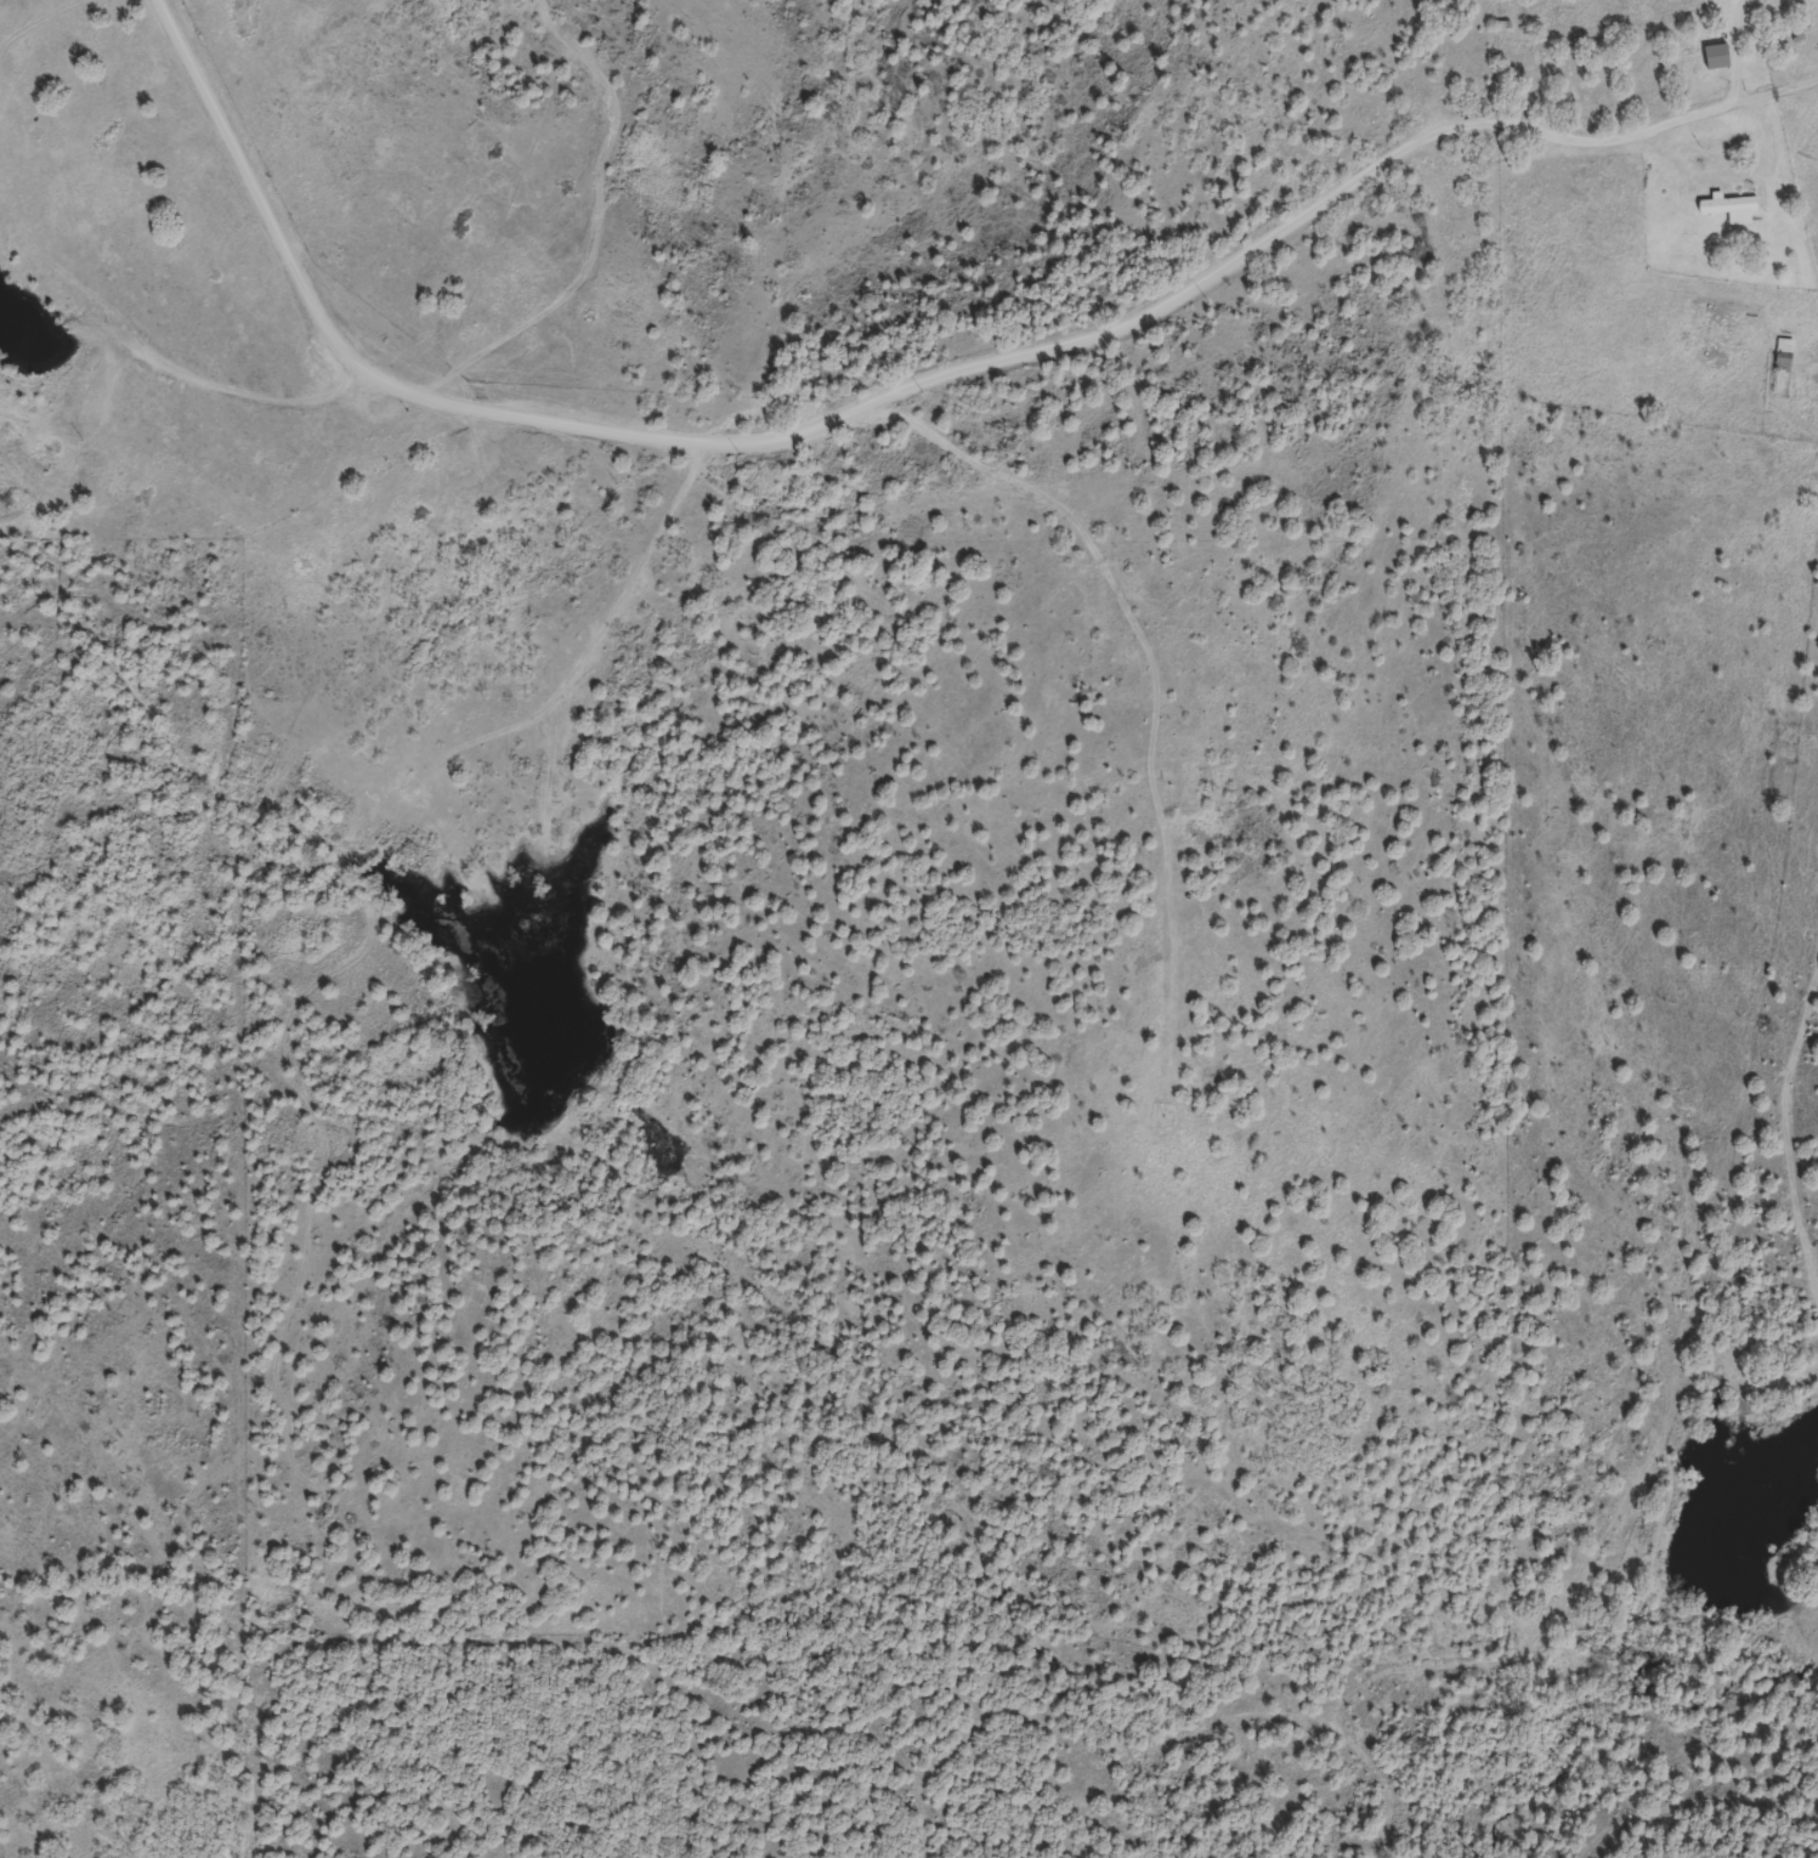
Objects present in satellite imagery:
building: (1717, 56)
building: (1528, 61)
building: (1731, 208)
building: (1783, 356)

